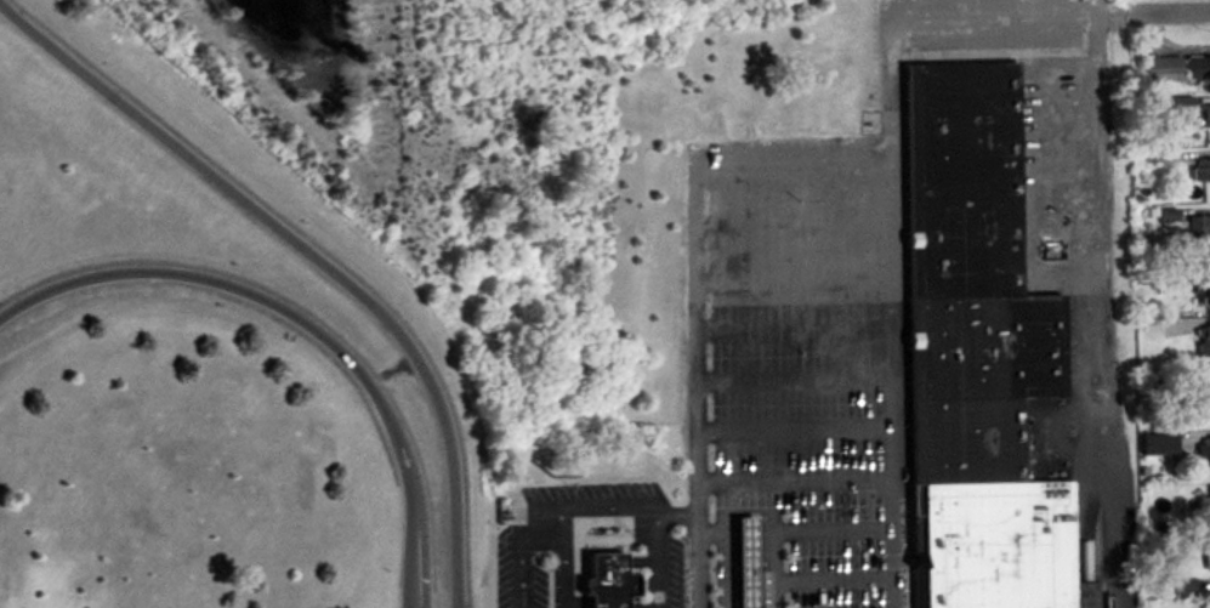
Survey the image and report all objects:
road: (924, 17)
road: (1153, 17)
building: (1175, 68)
building: (1188, 113)
road: (790, 152)
building: (1199, 170)
building: (1197, 227)
road: (790, 228)
road: (313, 255)
road: (793, 278)
building: (1204, 289)
road: (1107, 312)
road: (305, 318)
road: (794, 331)
building: (1203, 341)
building: (972, 354)
road: (794, 379)
building: (1200, 393)
road: (795, 430)
building: (1154, 443)
building: (1202, 455)
road: (796, 478)
road: (581, 505)
building: (1203, 505)
road: (831, 529)
road: (521, 546)
road: (771, 559)
building: (1206, 559)
road: (657, 561)
building: (740, 562)
road: (833, 580)
building: (607, 581)

